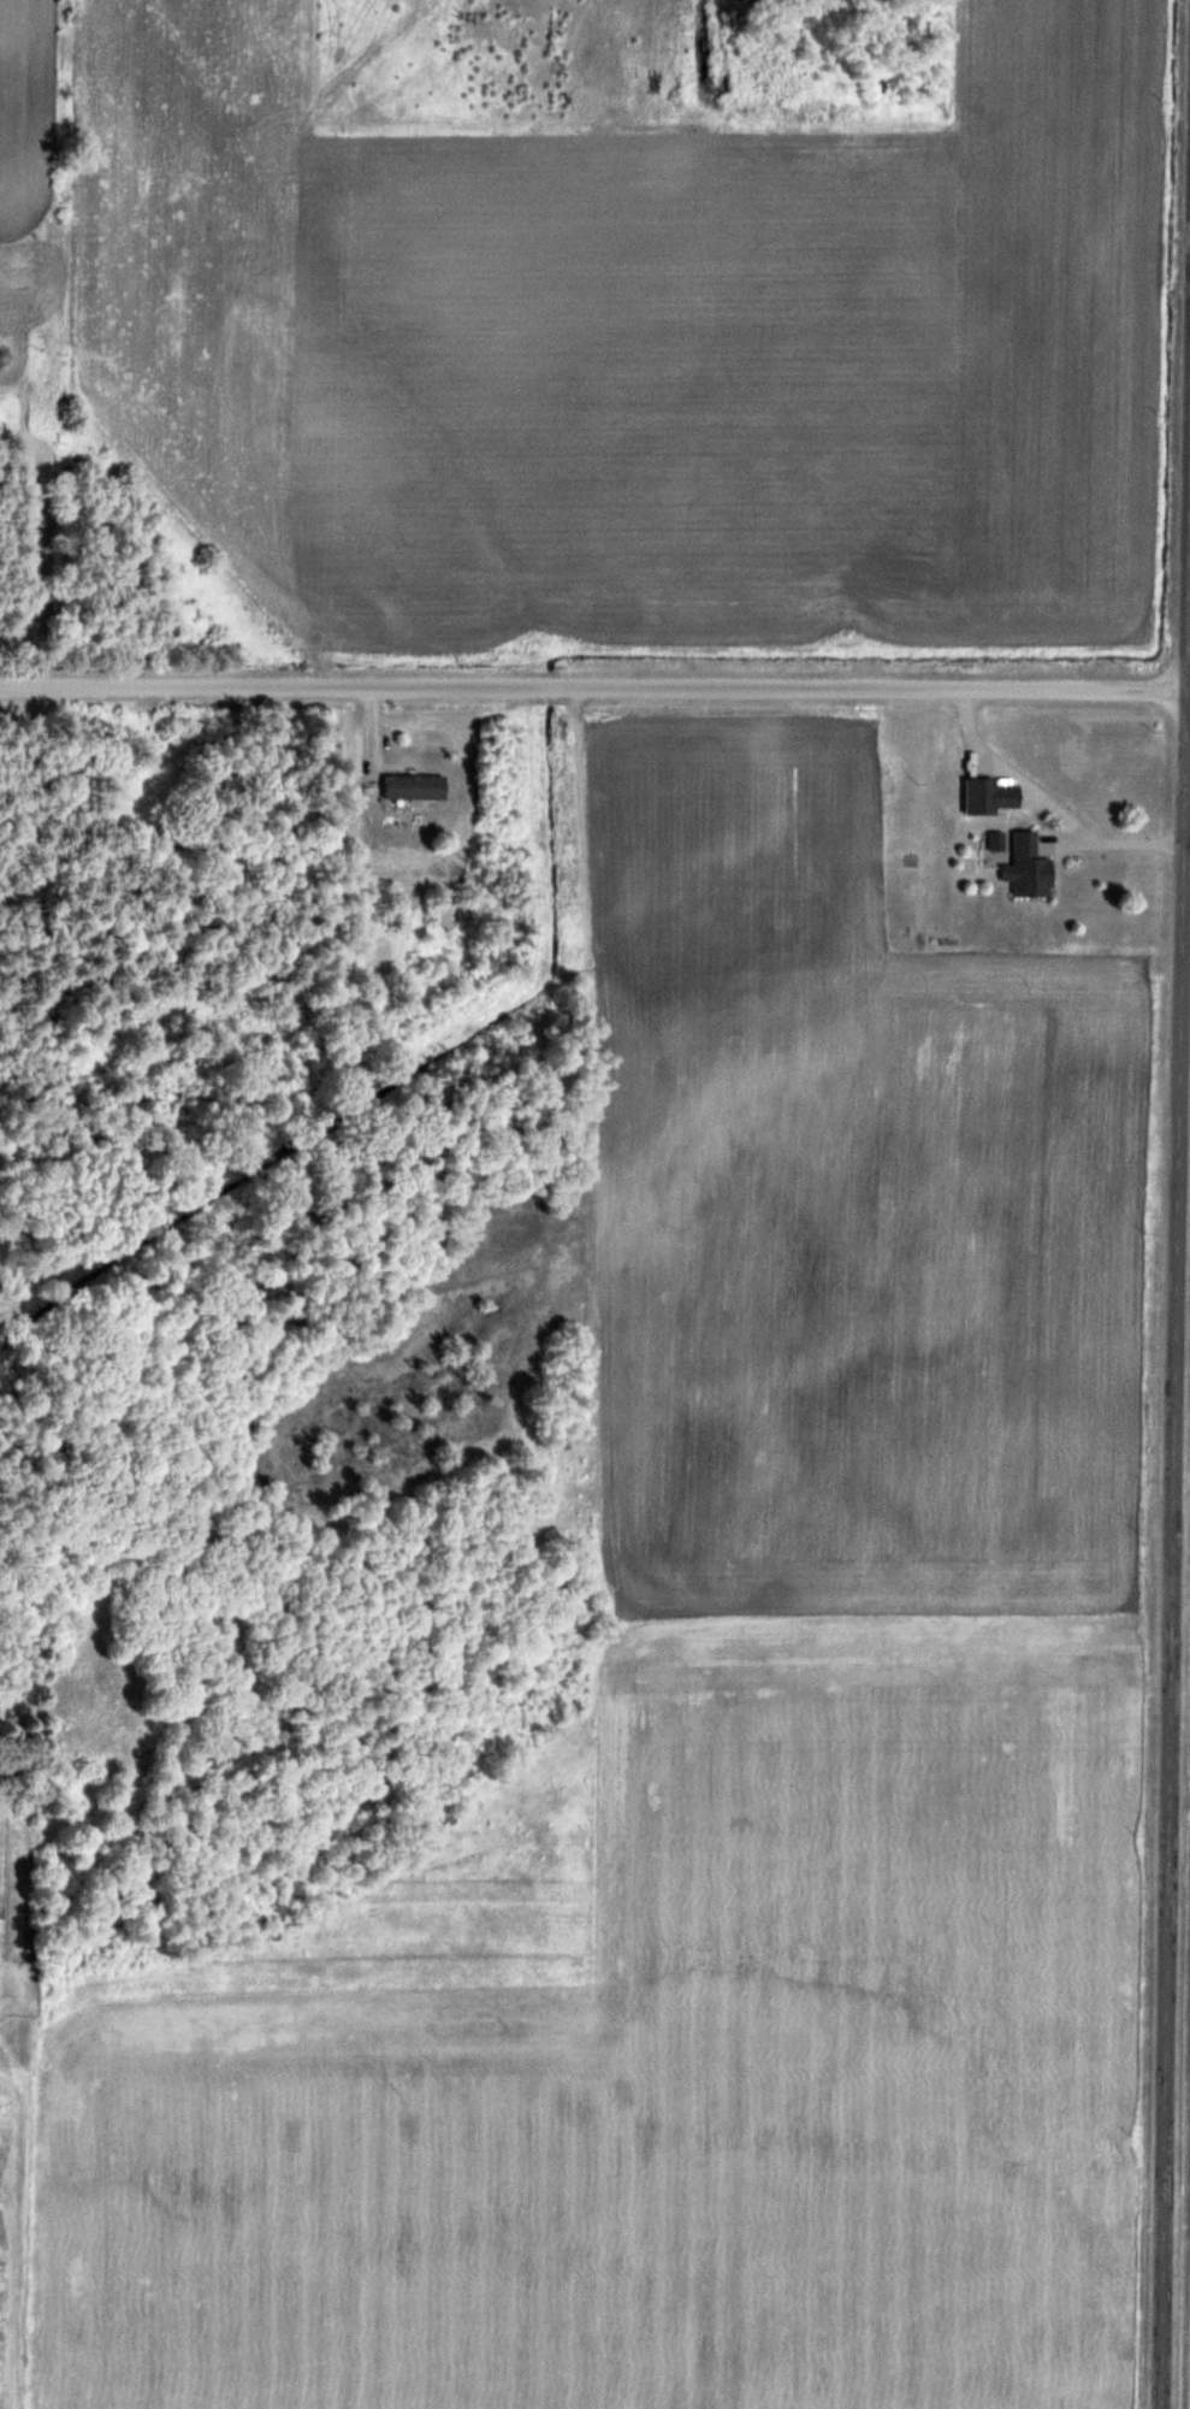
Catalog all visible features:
road: (594, 686)
building: (415, 785)
building: (989, 795)
road: (1044, 803)
building: (1029, 867)
road: (1180, 1480)

